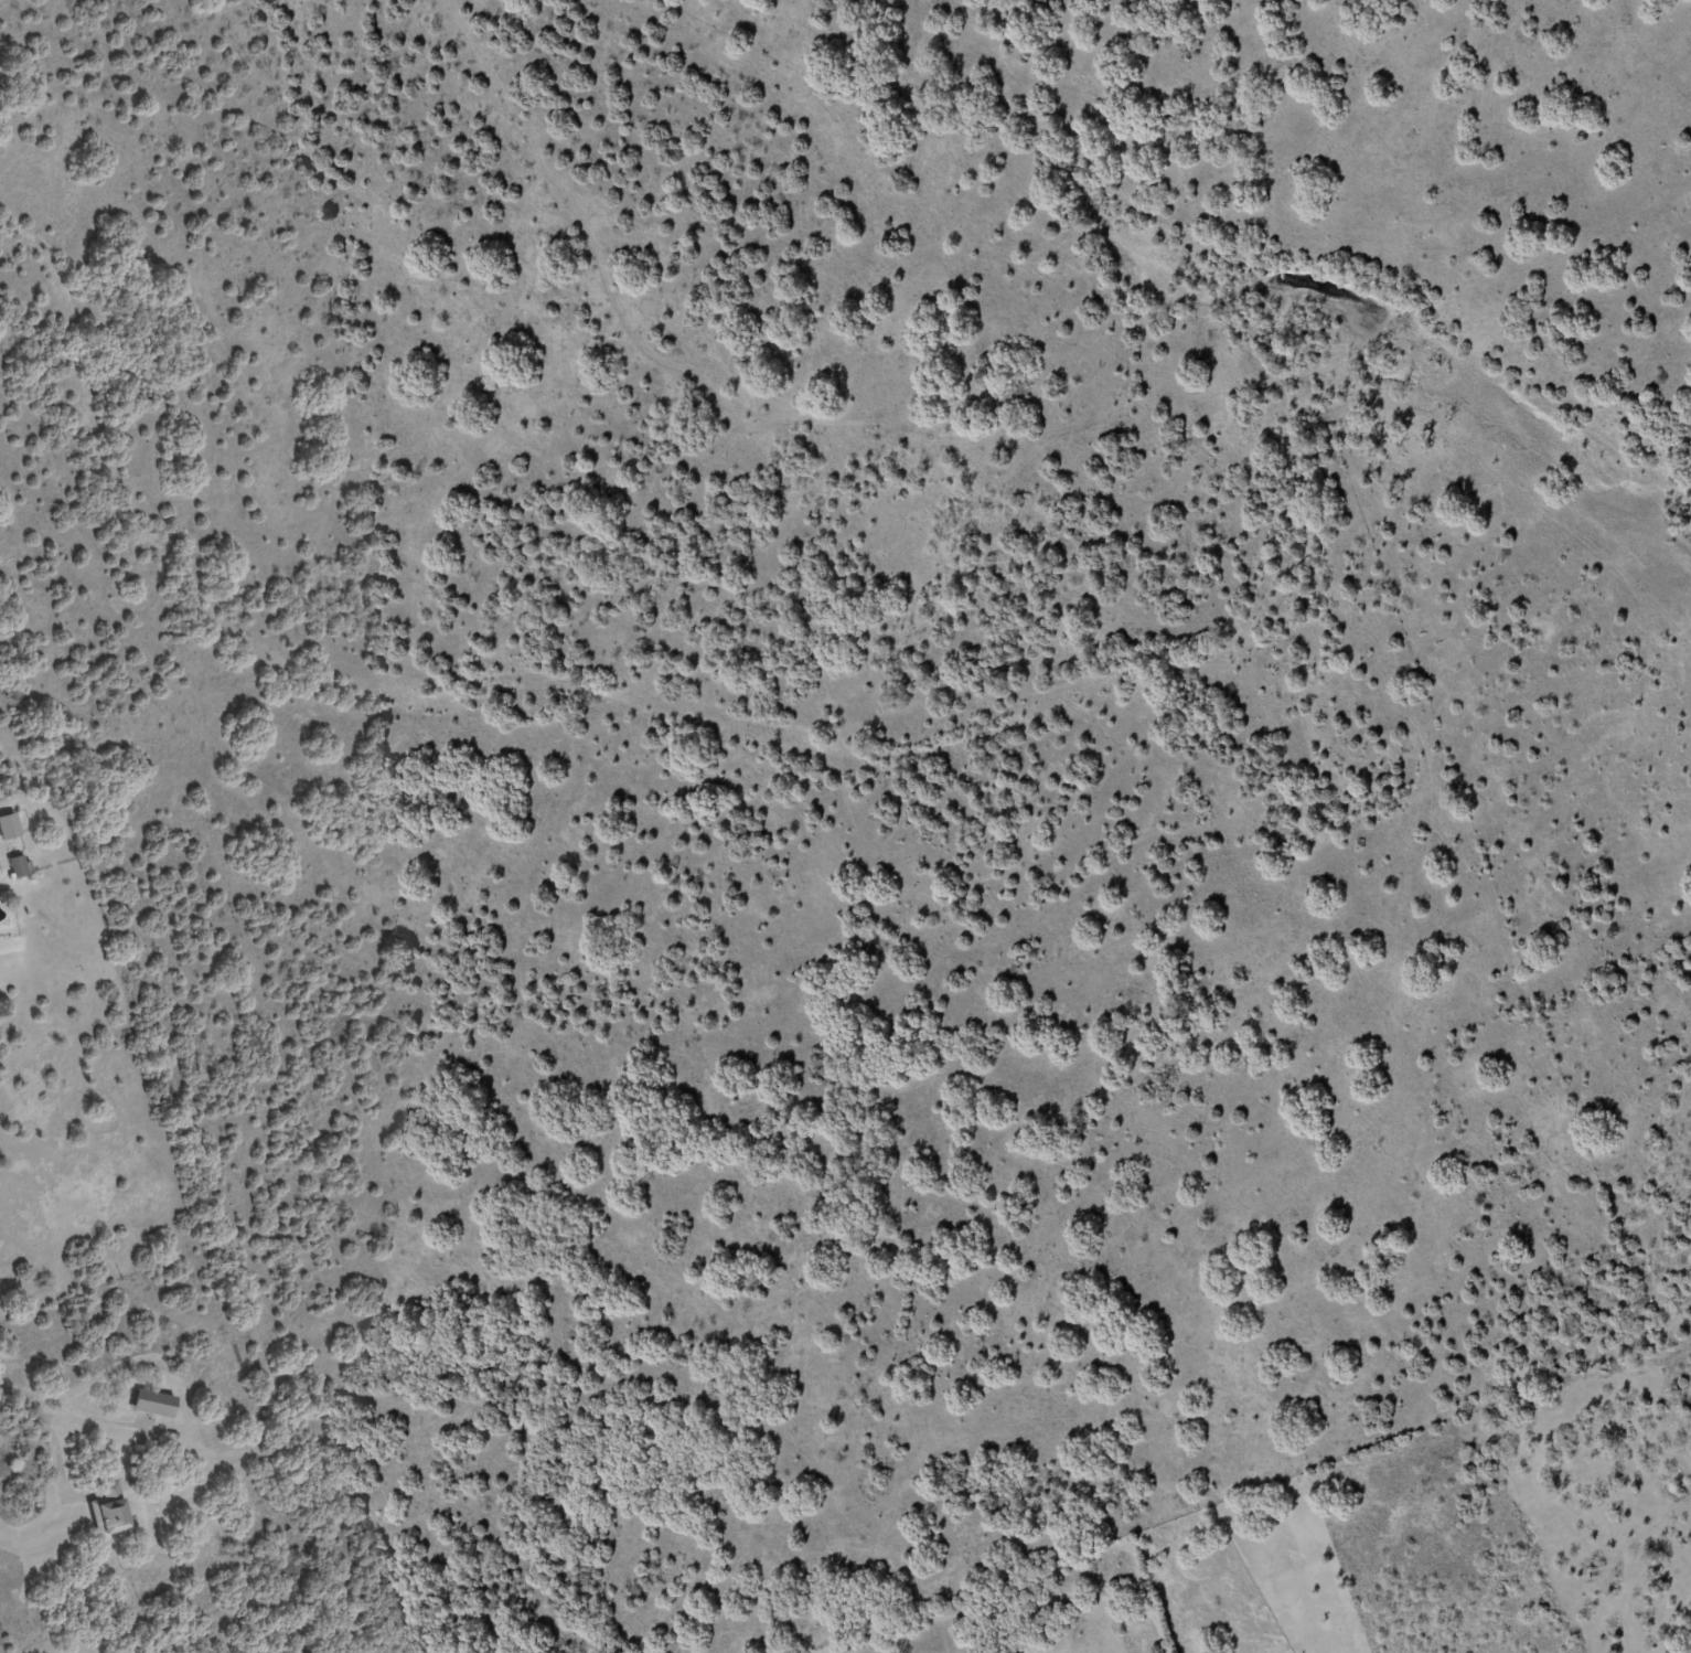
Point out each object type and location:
building: (9, 825)
building: (19, 865)
building: (152, 1403)
road: (51, 1428)
building: (109, 1511)
building: (46, 1540)

